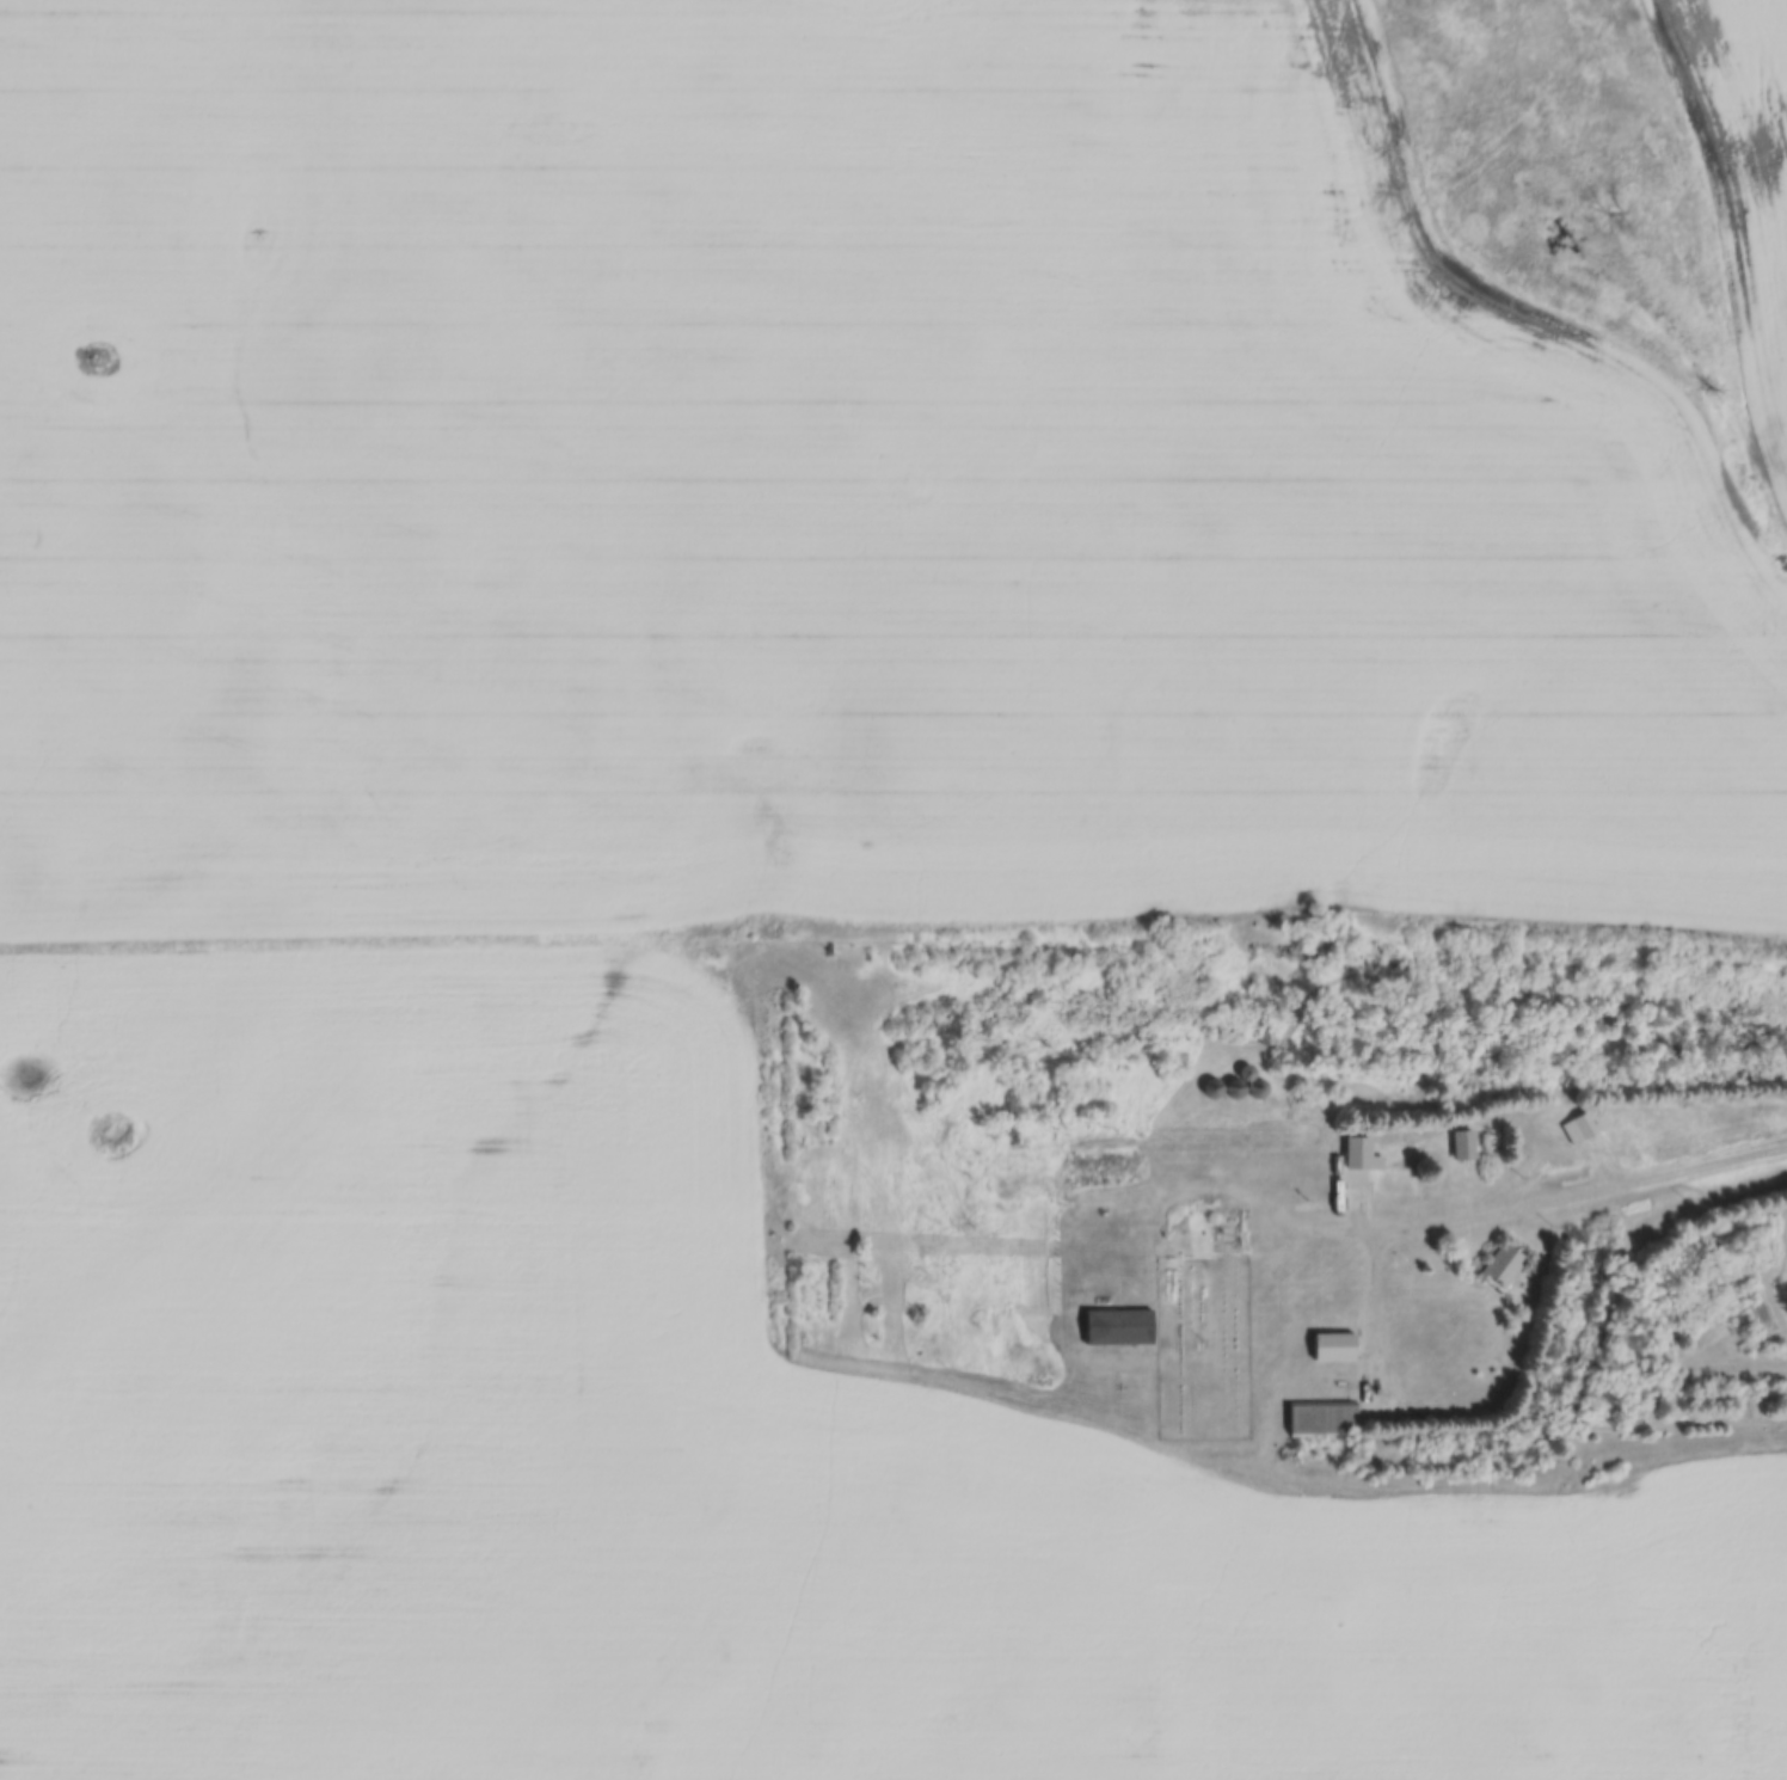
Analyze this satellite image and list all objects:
building: (1582, 1127)
building: (1381, 1166)
road: (1566, 1196)
building: (1505, 1266)
building: (1120, 1325)
building: (1334, 1344)
building: (1324, 1417)

